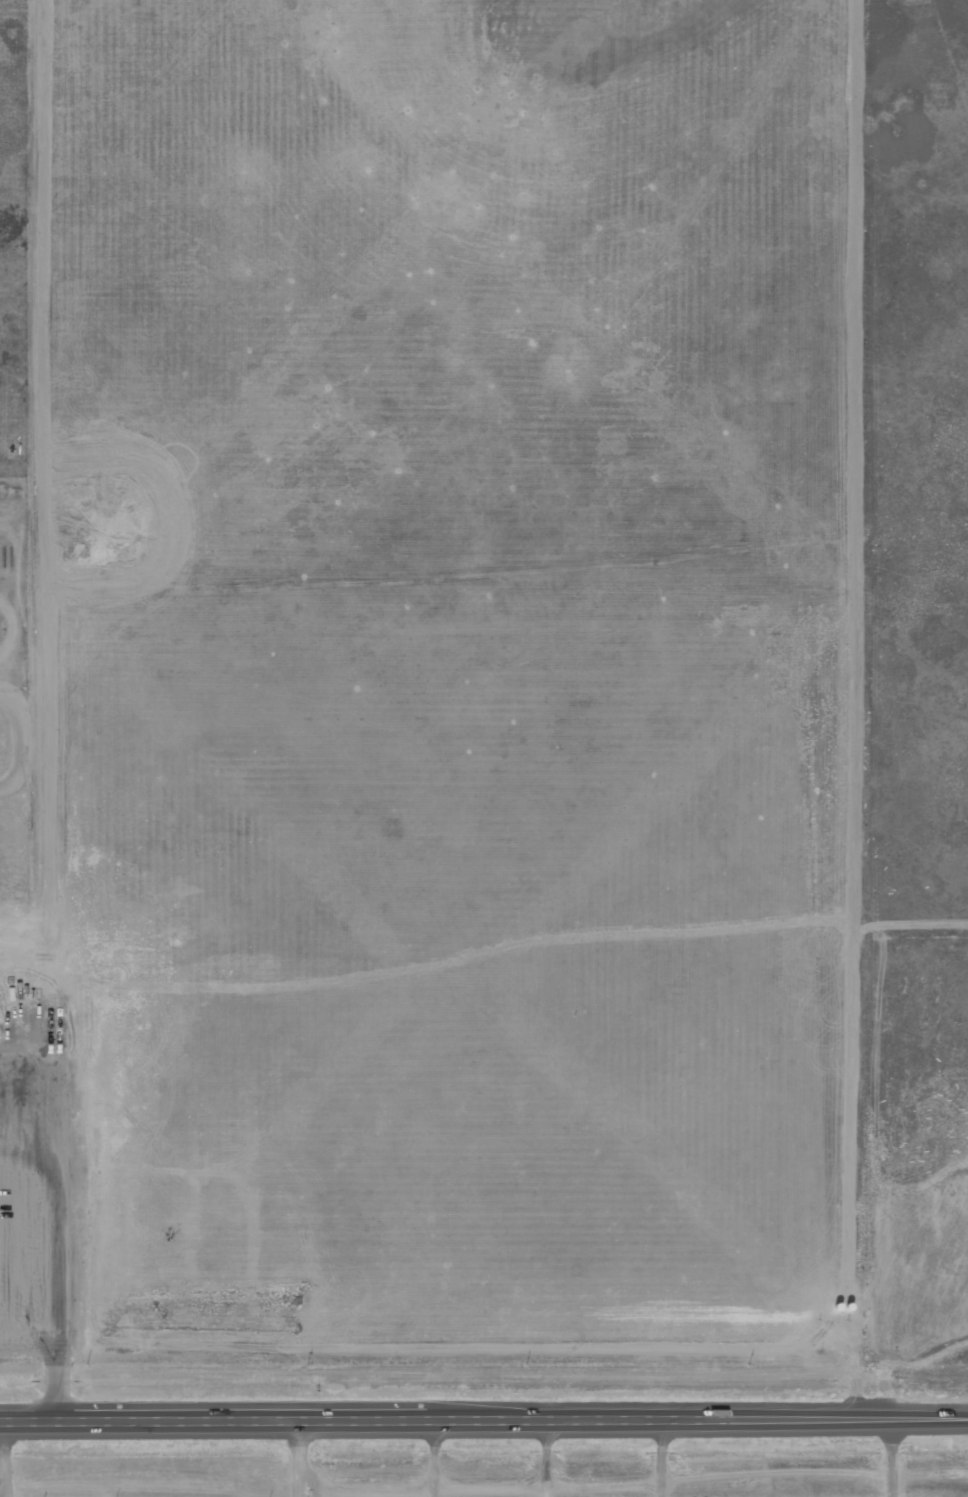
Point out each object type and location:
road: (483, 1421)

